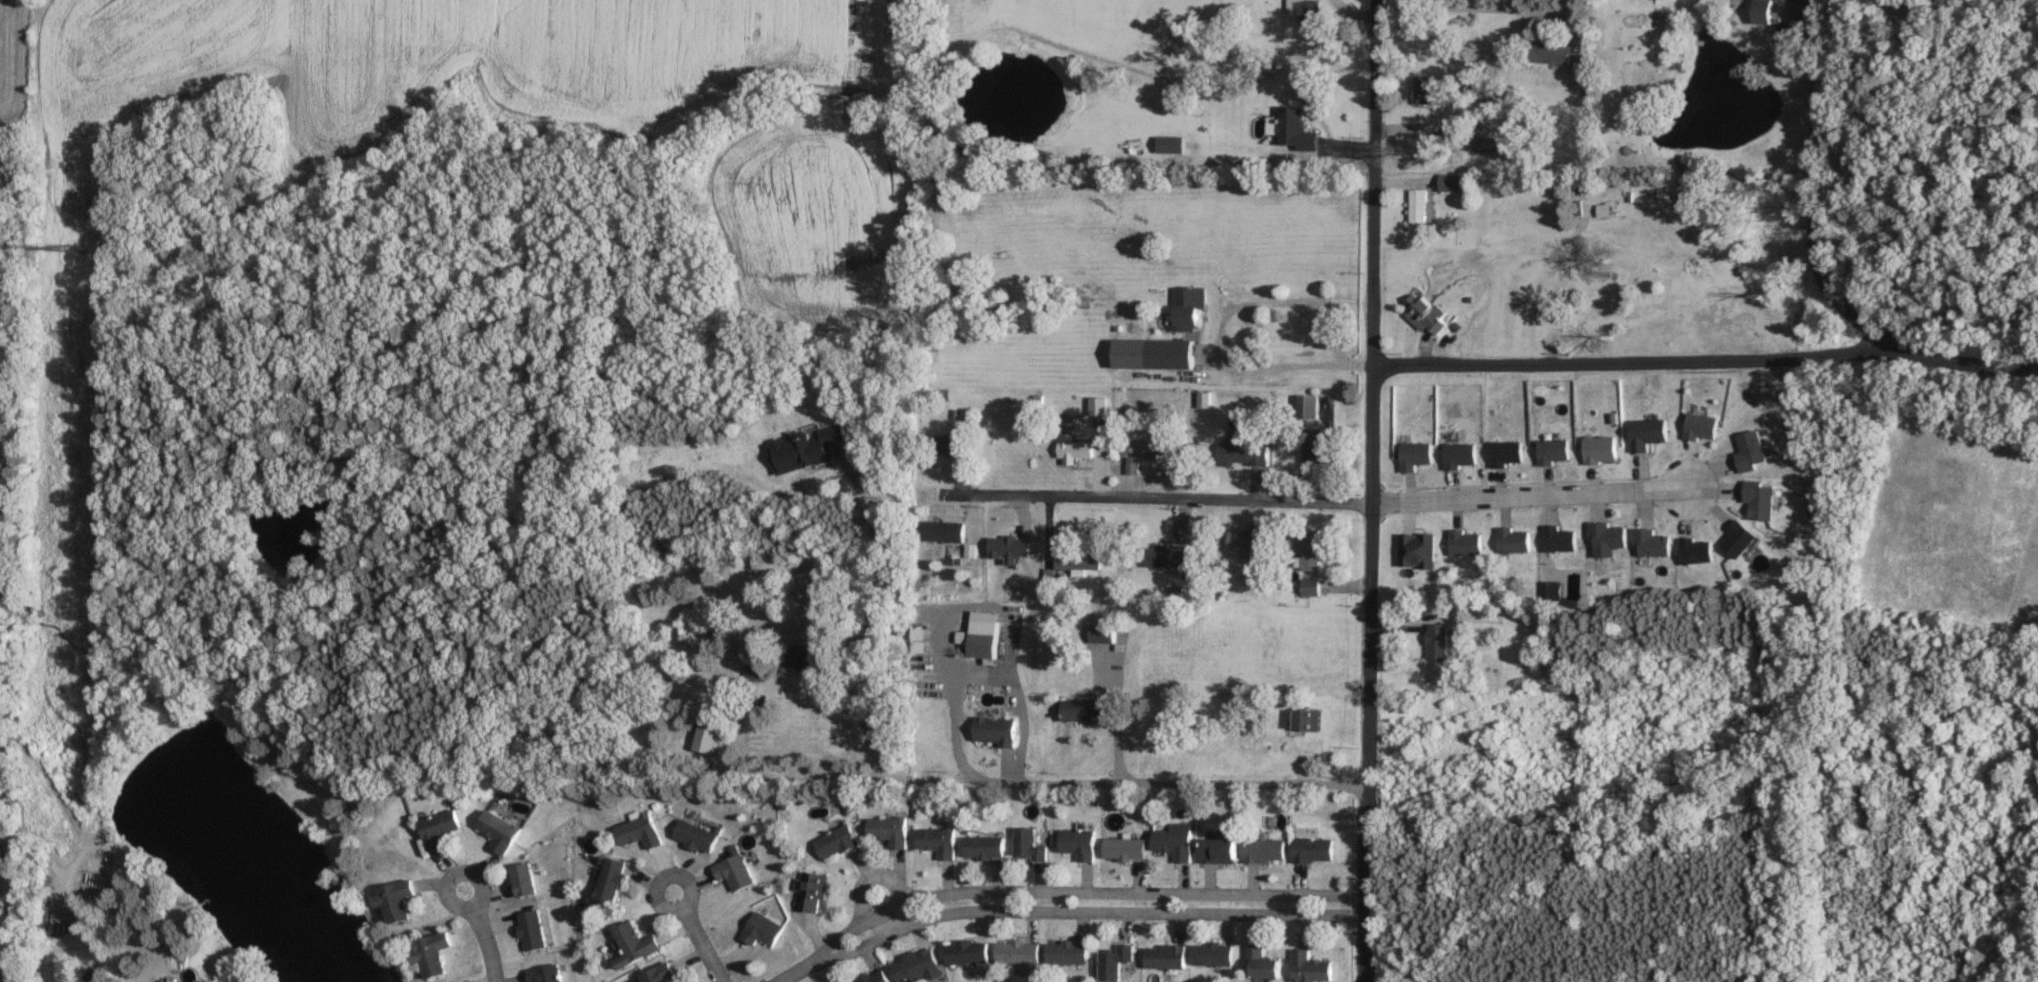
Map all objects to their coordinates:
road: (1487, 8)
building: (1306, 11)
building: (1763, 11)
building: (1550, 53)
building: (1424, 88)
building: (1295, 129)
building: (1453, 130)
building: (1170, 144)
building: (1448, 182)
road: (1814, 193)
building: (1418, 206)
building: (1604, 210)
power tower: (73, 248)
road: (1566, 287)
building: (1426, 314)
road: (1221, 331)
building: (1154, 353)
road: (1706, 359)
building: (1308, 406)
building: (1649, 432)
building: (949, 445)
building: (1311, 445)
building: (1159, 447)
building: (1074, 449)
building: (1244, 451)
building: (1132, 466)
road: (1370, 491)
road: (1527, 494)
road: (1162, 498)
road: (4, 501)
building: (944, 531)
building: (1312, 550)
building: (1418, 550)
building: (1166, 556)
building: (1079, 559)
building: (1311, 587)
road: (873, 633)
building: (982, 638)
building: (1438, 642)
building: (799, 658)
road: (983, 680)
building: (1085, 709)
road: (1115, 716)
building: (1308, 719)
building: (994, 730)
building: (1254, 739)
road: (800, 776)
road: (1131, 785)
building: (439, 828)
building: (888, 830)
building: (498, 831)
building: (636, 832)
building: (693, 836)
building: (937, 841)
building: (834, 842)
building: (1173, 842)
building: (1078, 844)
building: (1027, 845)
building: (983, 847)
building: (1123, 849)
road: (4, 850)
building: (1219, 851)
building: (1264, 851)
building: (1313, 851)
building: (732, 872)
building: (610, 879)
building: (522, 880)
building: (810, 892)
building: (395, 900)
road: (877, 907)
road: (1063, 908)
building: (760, 929)
building: (530, 930)
road: (480, 933)
road: (690, 937)
building: (633, 944)
building: (967, 952)
building: (1017, 952)
building: (1067, 952)
building: (431, 953)
building: (1212, 954)
building: (1165, 956)
building: (1114, 962)
building: (1262, 964)
building: (917, 967)
building: (1310, 967)
building: (544, 974)
building: (658, 974)
building: (874, 977)

